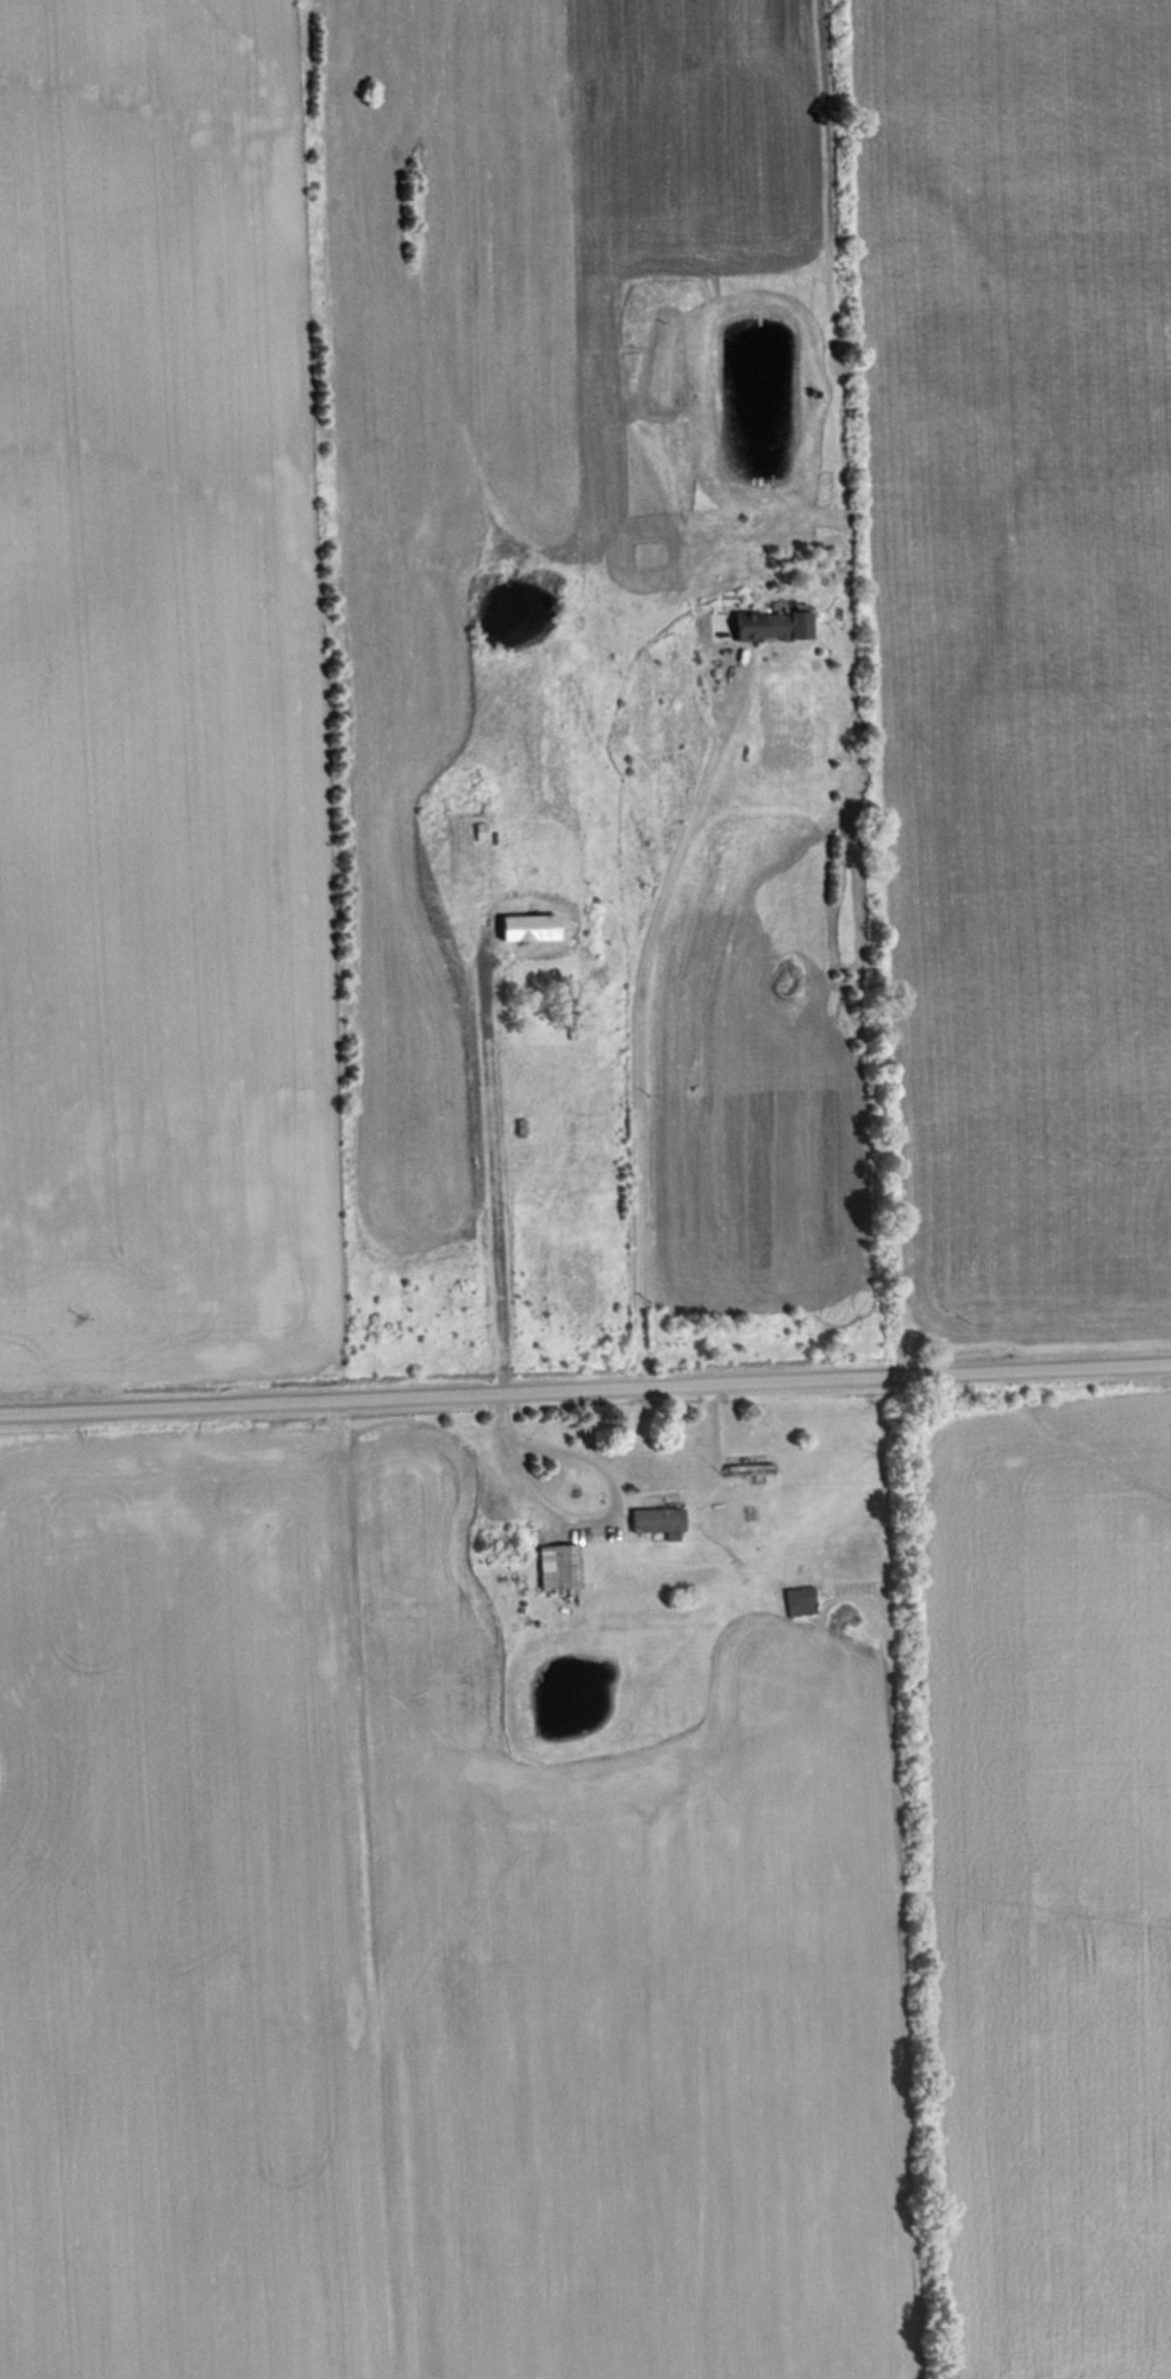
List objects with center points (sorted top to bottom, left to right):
building: (774, 625)
building: (530, 925)
road: (585, 1387)
building: (746, 1471)
building: (659, 1522)
building: (558, 1566)
building: (800, 1601)

